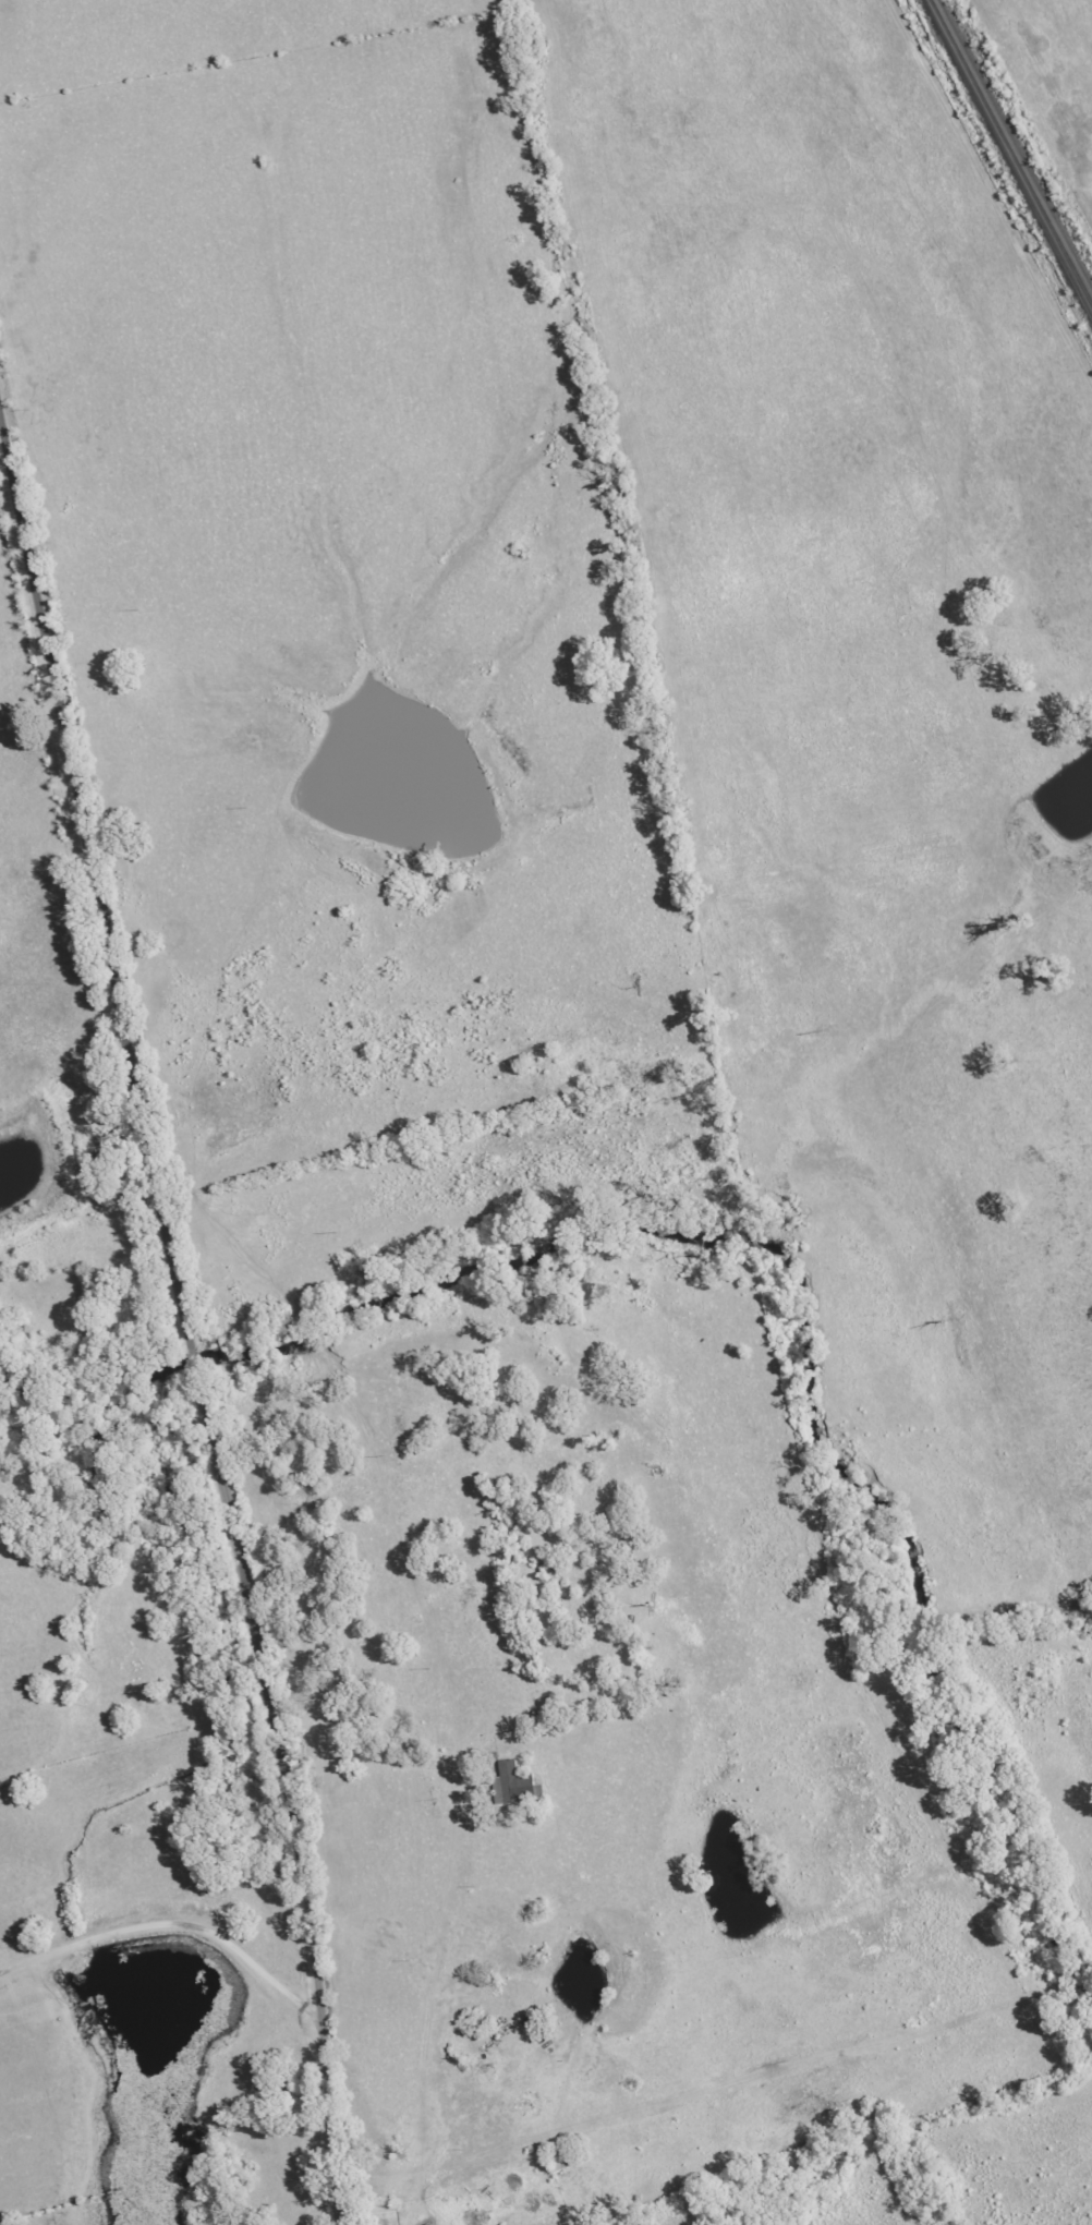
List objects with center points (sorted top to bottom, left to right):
railway: (1009, 155)
road: (191, 1318)
road: (169, 1925)

